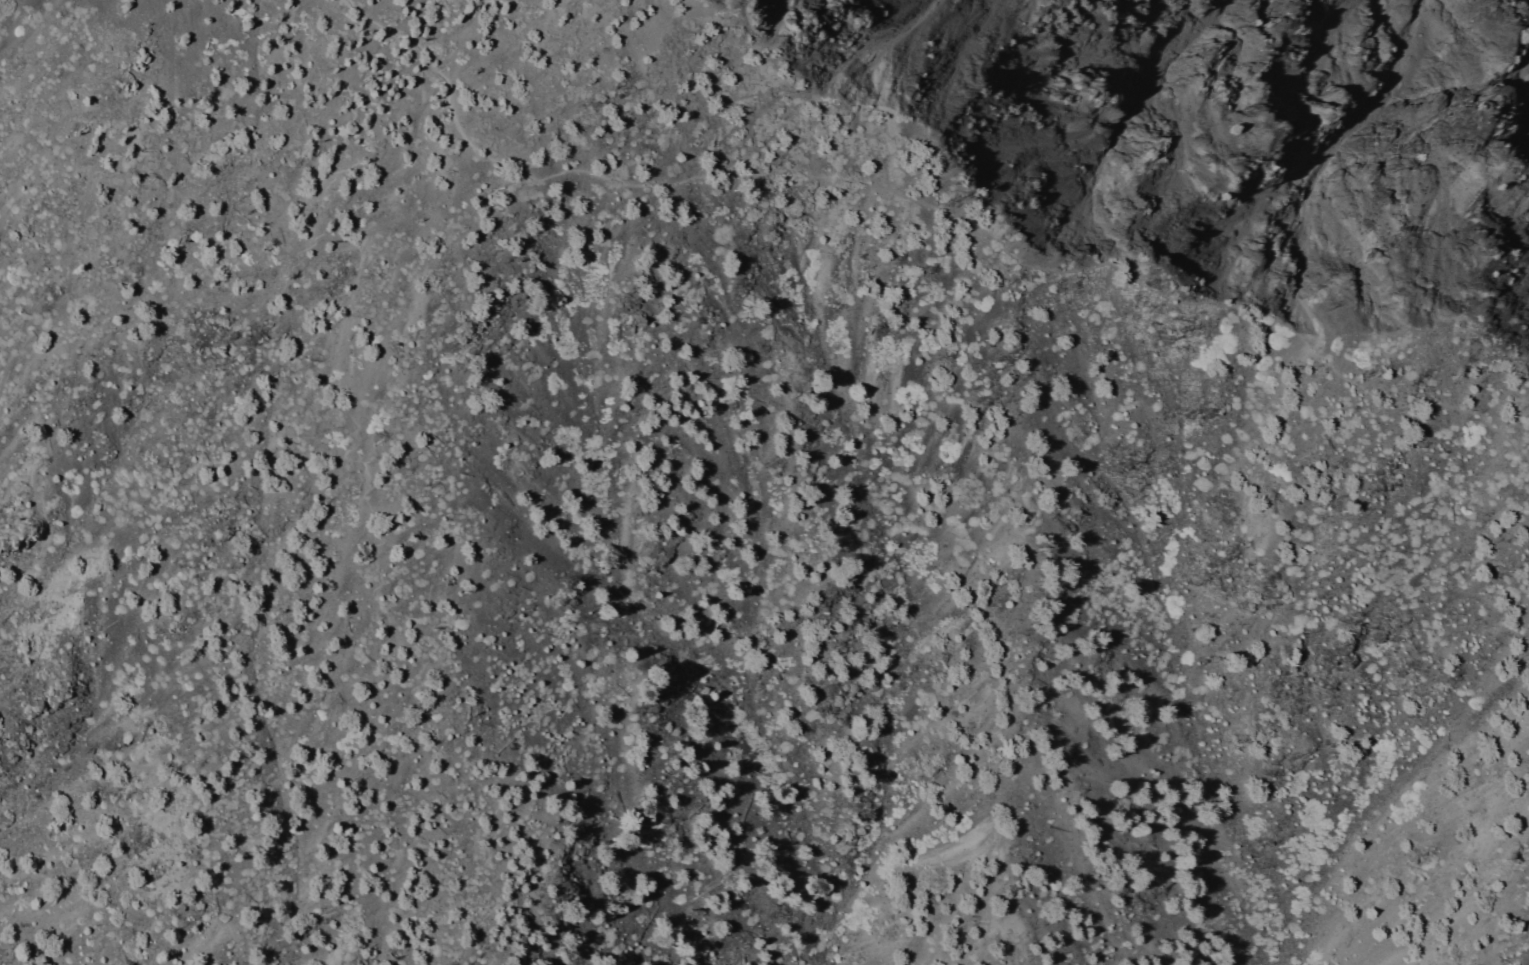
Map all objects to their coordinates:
road: (838, 104)
road: (928, 206)
road: (361, 467)

